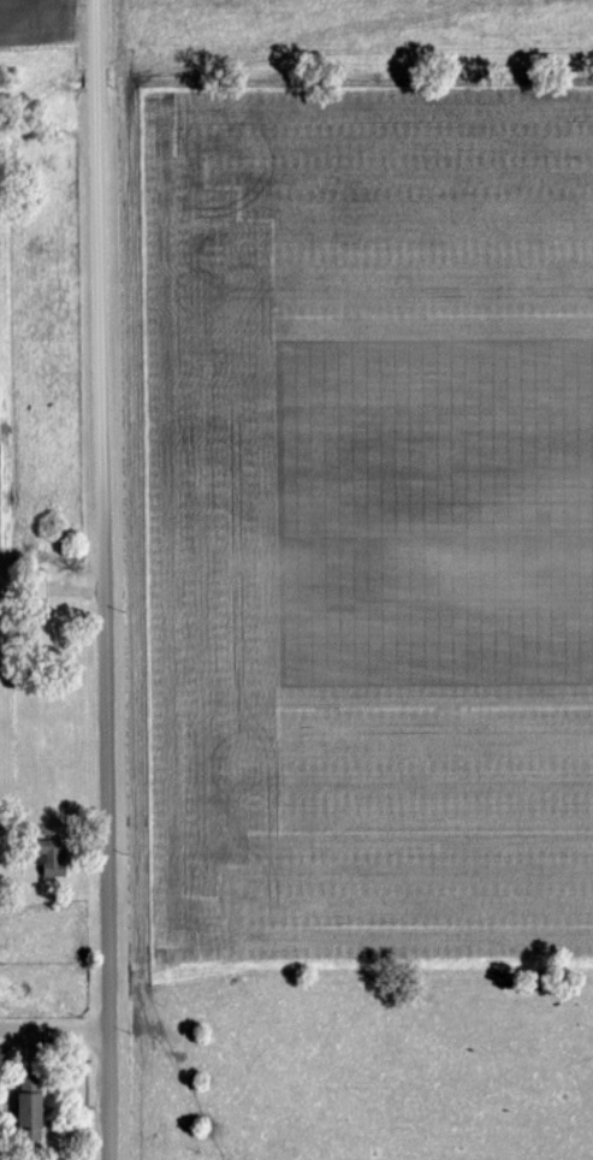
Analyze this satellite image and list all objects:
road: (101, 579)
building: (55, 862)
road: (54, 1030)
building: (31, 1111)

